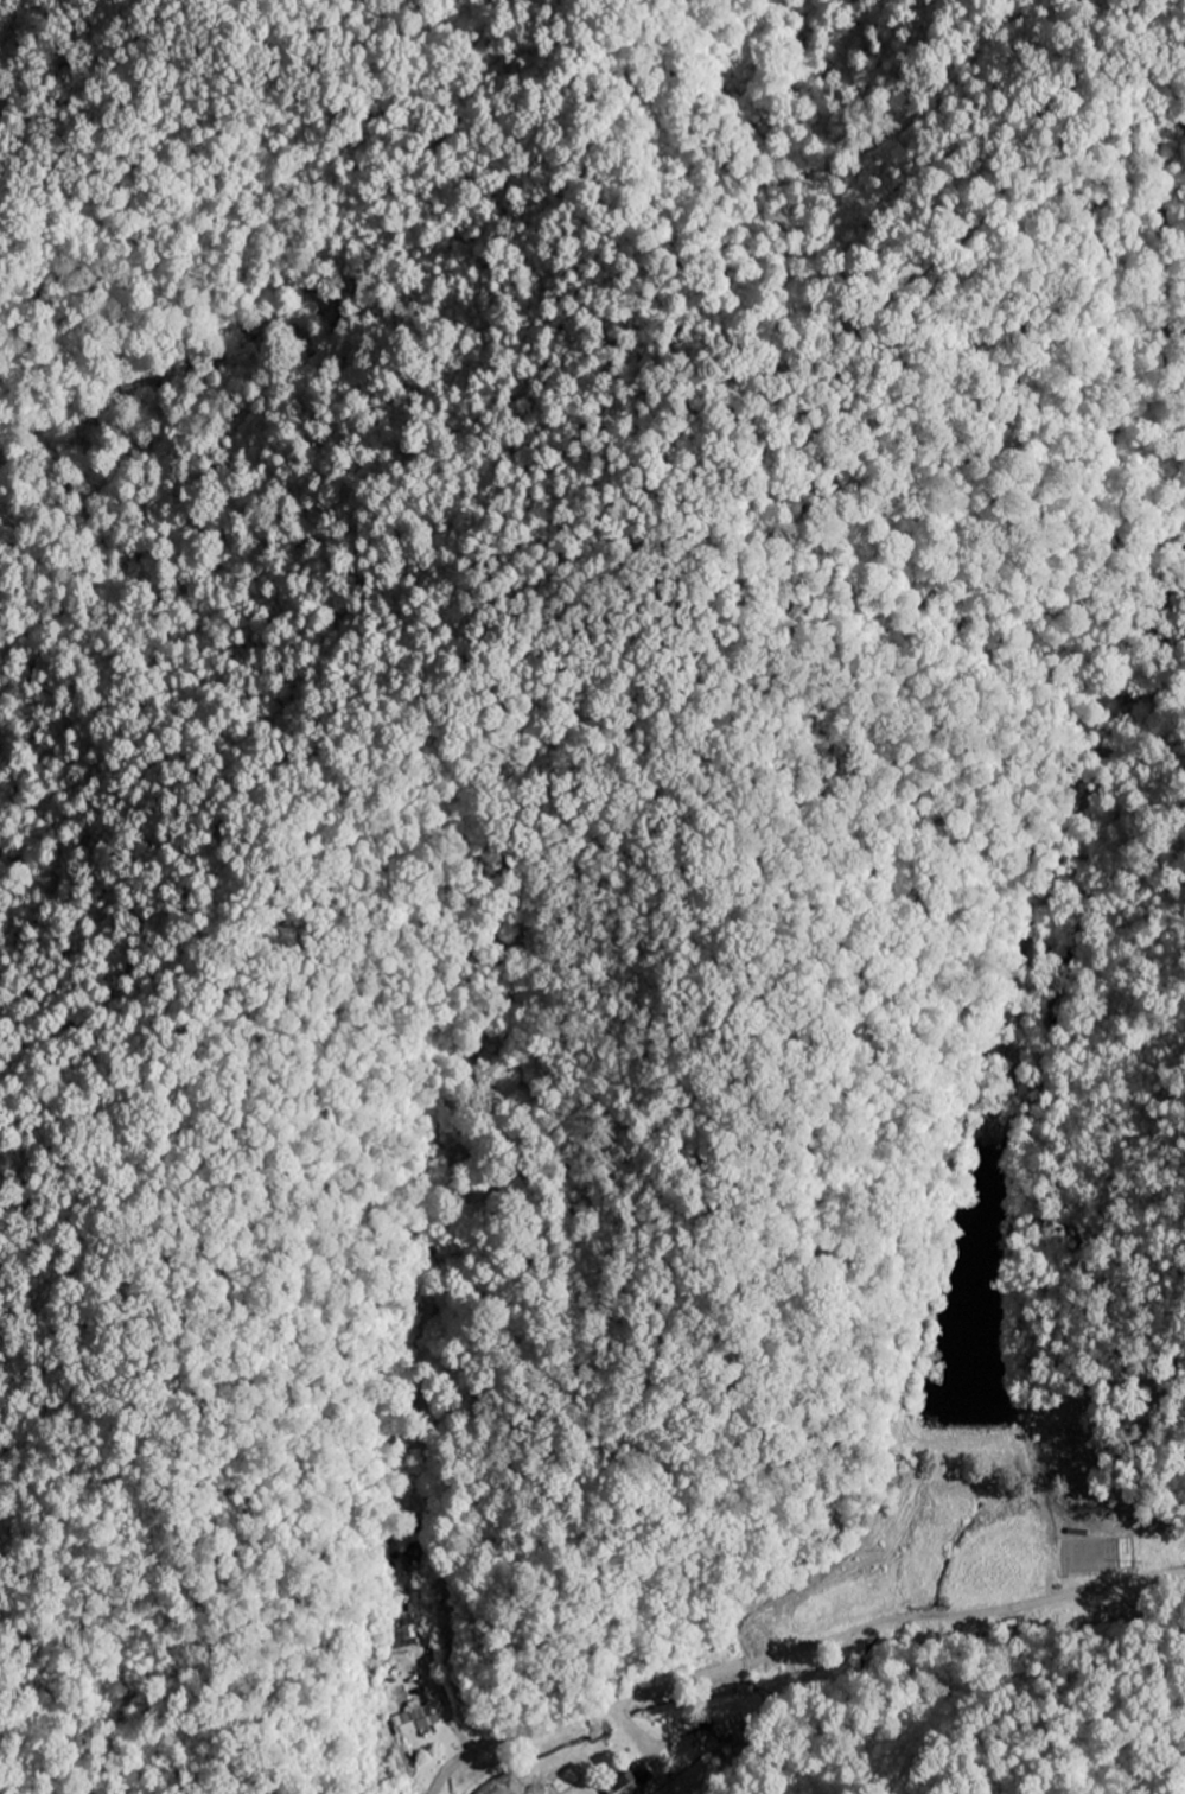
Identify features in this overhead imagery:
building: (404, 1631)
road: (668, 1681)
building: (415, 1719)
building: (630, 1781)

